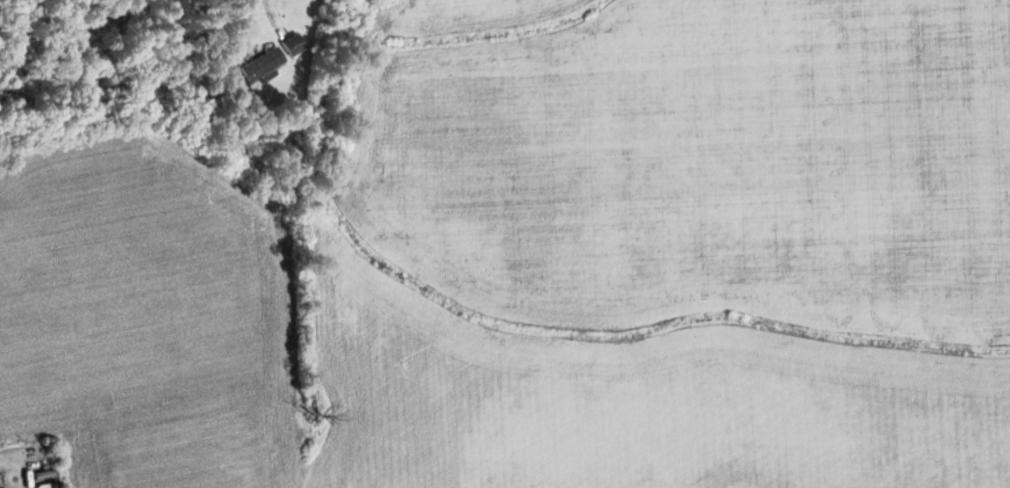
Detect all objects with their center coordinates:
road: (326, 26)
building: (294, 44)
building: (263, 65)

